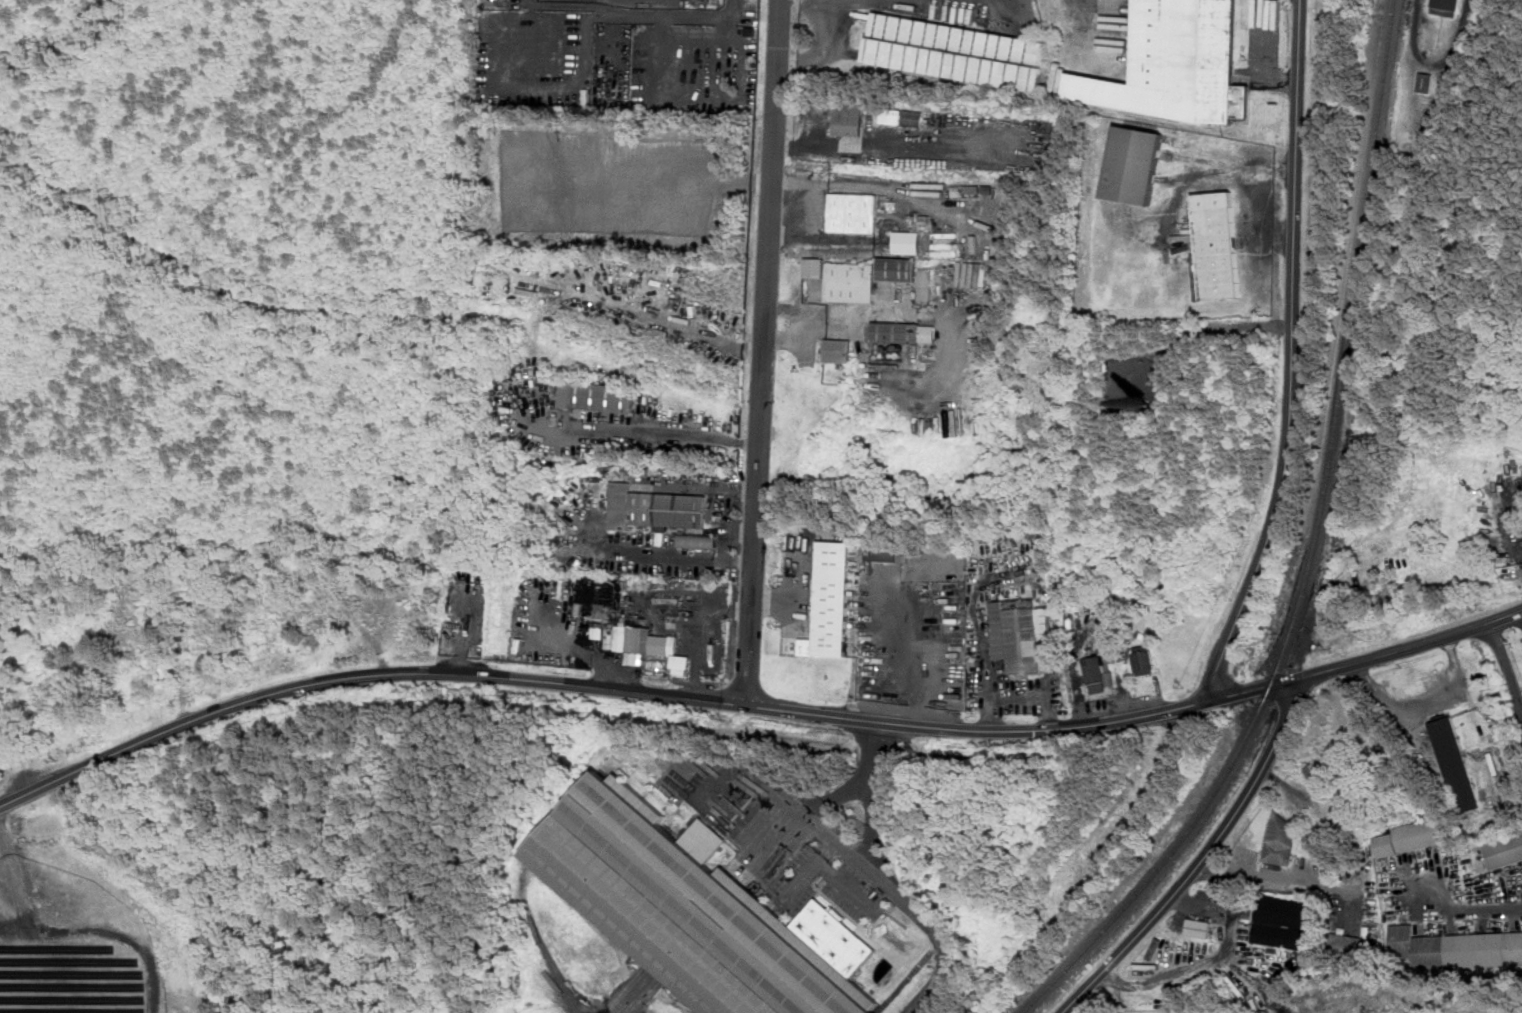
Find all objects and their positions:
road: (804, 2)
building: (1446, 7)
building: (957, 51)
building: (1177, 64)
building: (1426, 82)
building: (901, 115)
building: (847, 120)
building: (1134, 165)
road: (1238, 168)
road: (676, 172)
building: (853, 213)
building: (907, 241)
building: (1217, 245)
building: (815, 267)
building: (897, 269)
building: (851, 282)
building: (925, 284)
road: (626, 303)
road: (901, 313)
road: (797, 320)
road: (1204, 328)
building: (903, 332)
building: (877, 345)
storage tank: (877, 345)
building: (900, 347)
storage tank: (900, 347)
building: (891, 348)
storage tank: (891, 348)
building: (884, 349)
storage tank: (884, 349)
building: (877, 350)
storage tank: (877, 350)
building: (838, 351)
road: (764, 352)
building: (881, 354)
storage tank: (881, 354)
building: (891, 354)
storage tank: (891, 354)
building: (898, 354)
storage tank: (898, 354)
road: (1292, 356)
building: (603, 397)
road: (654, 433)
building: (656, 508)
building: (698, 541)
railway: (1314, 550)
road: (667, 553)
building: (887, 555)
building: (833, 598)
building: (455, 625)
building: (1021, 632)
road: (468, 635)
road: (706, 635)
building: (639, 642)
road: (582, 649)
road: (1398, 651)
building: (1144, 659)
road: (1506, 663)
building: (1097, 673)
road: (989, 680)
road: (627, 691)
road: (1033, 697)
road: (1421, 700)
road: (530, 706)
road: (883, 738)
road: (991, 757)
building: (1455, 762)
building: (1317, 772)
road: (786, 808)
building: (1408, 839)
building: (1283, 842)
building: (1503, 850)
road: (1202, 858)
road: (13, 877)
road: (886, 883)
road: (1468, 908)
building: (696, 909)
building: (1284, 920)
building: (1198, 927)
railway: (1043, 933)
building: (1353, 944)
solar farm: (73, 945)
building: (1456, 947)
road: (1211, 961)
road: (566, 977)

